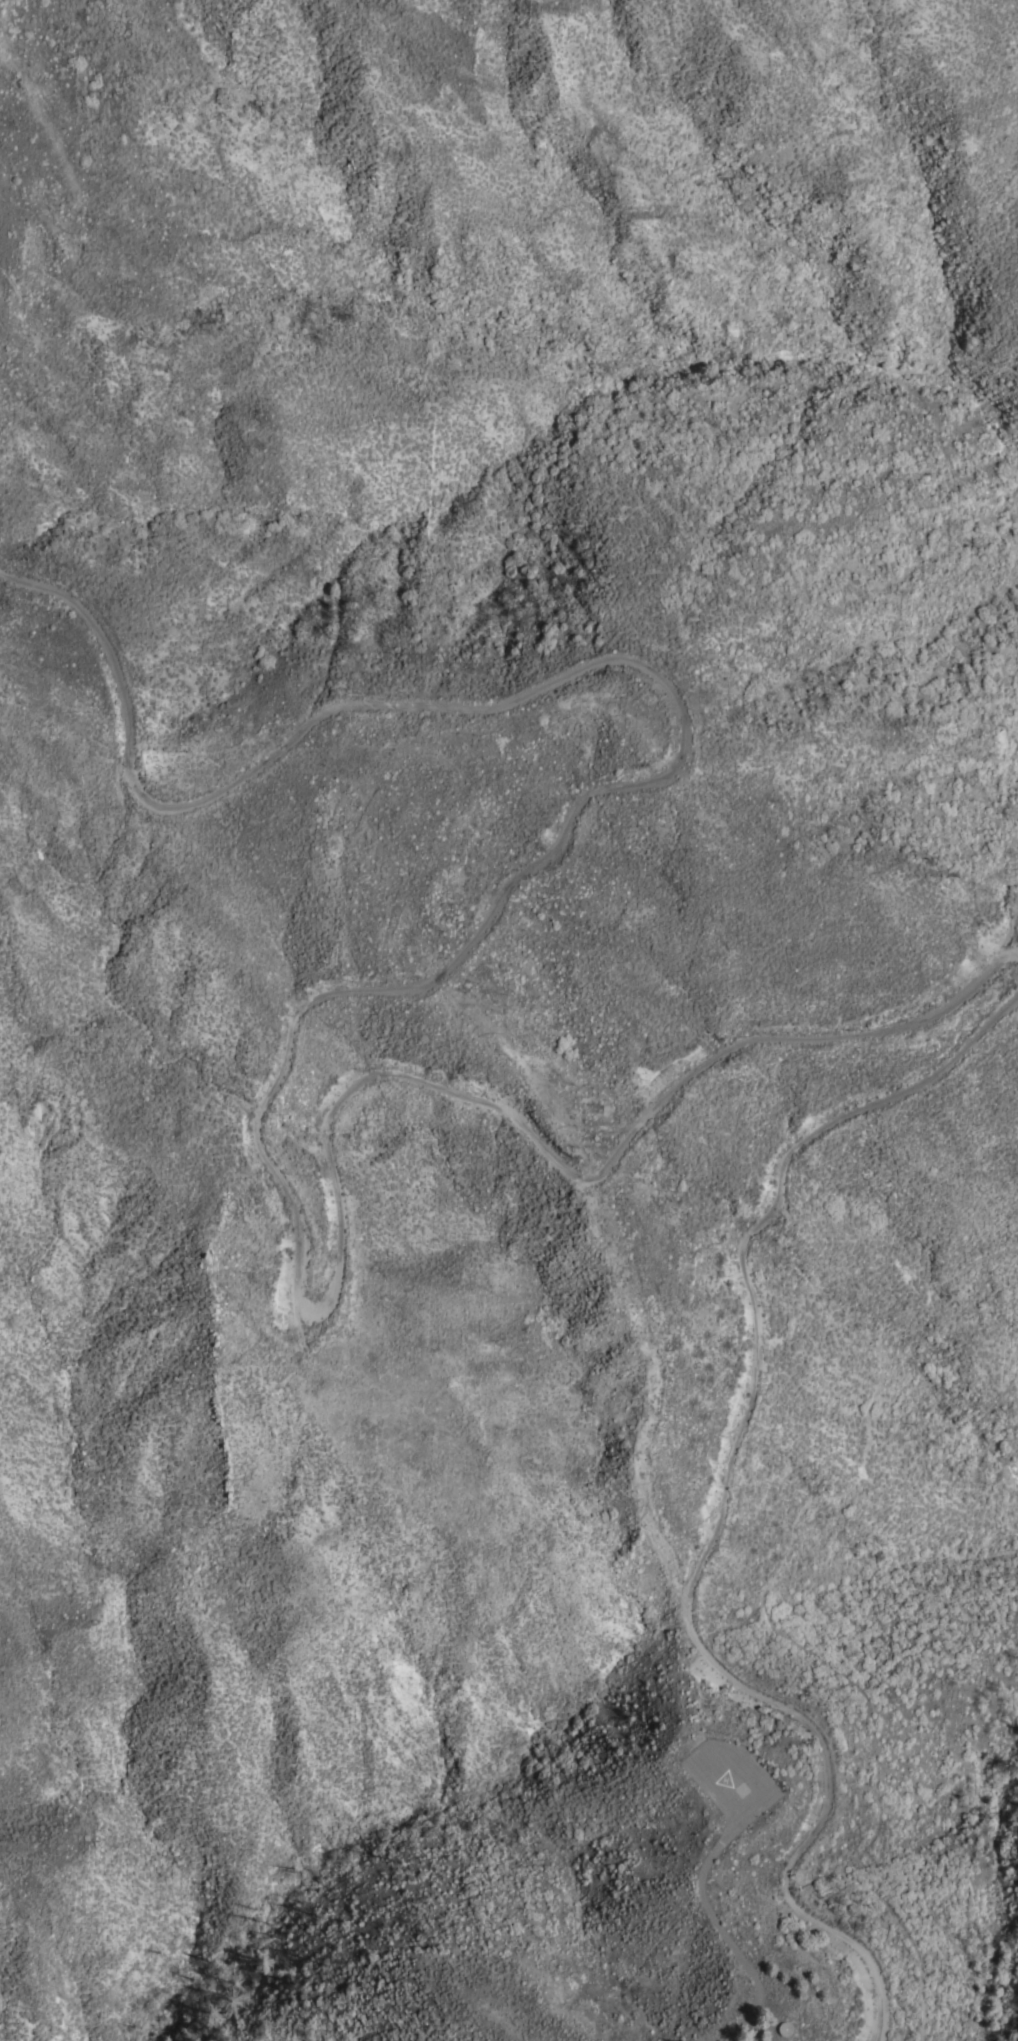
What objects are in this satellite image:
road: (928, 409)
road: (337, 991)
road: (717, 1510)
road: (773, 1622)
helipad: (722, 1786)
road: (720, 1936)
building: (778, 2028)

